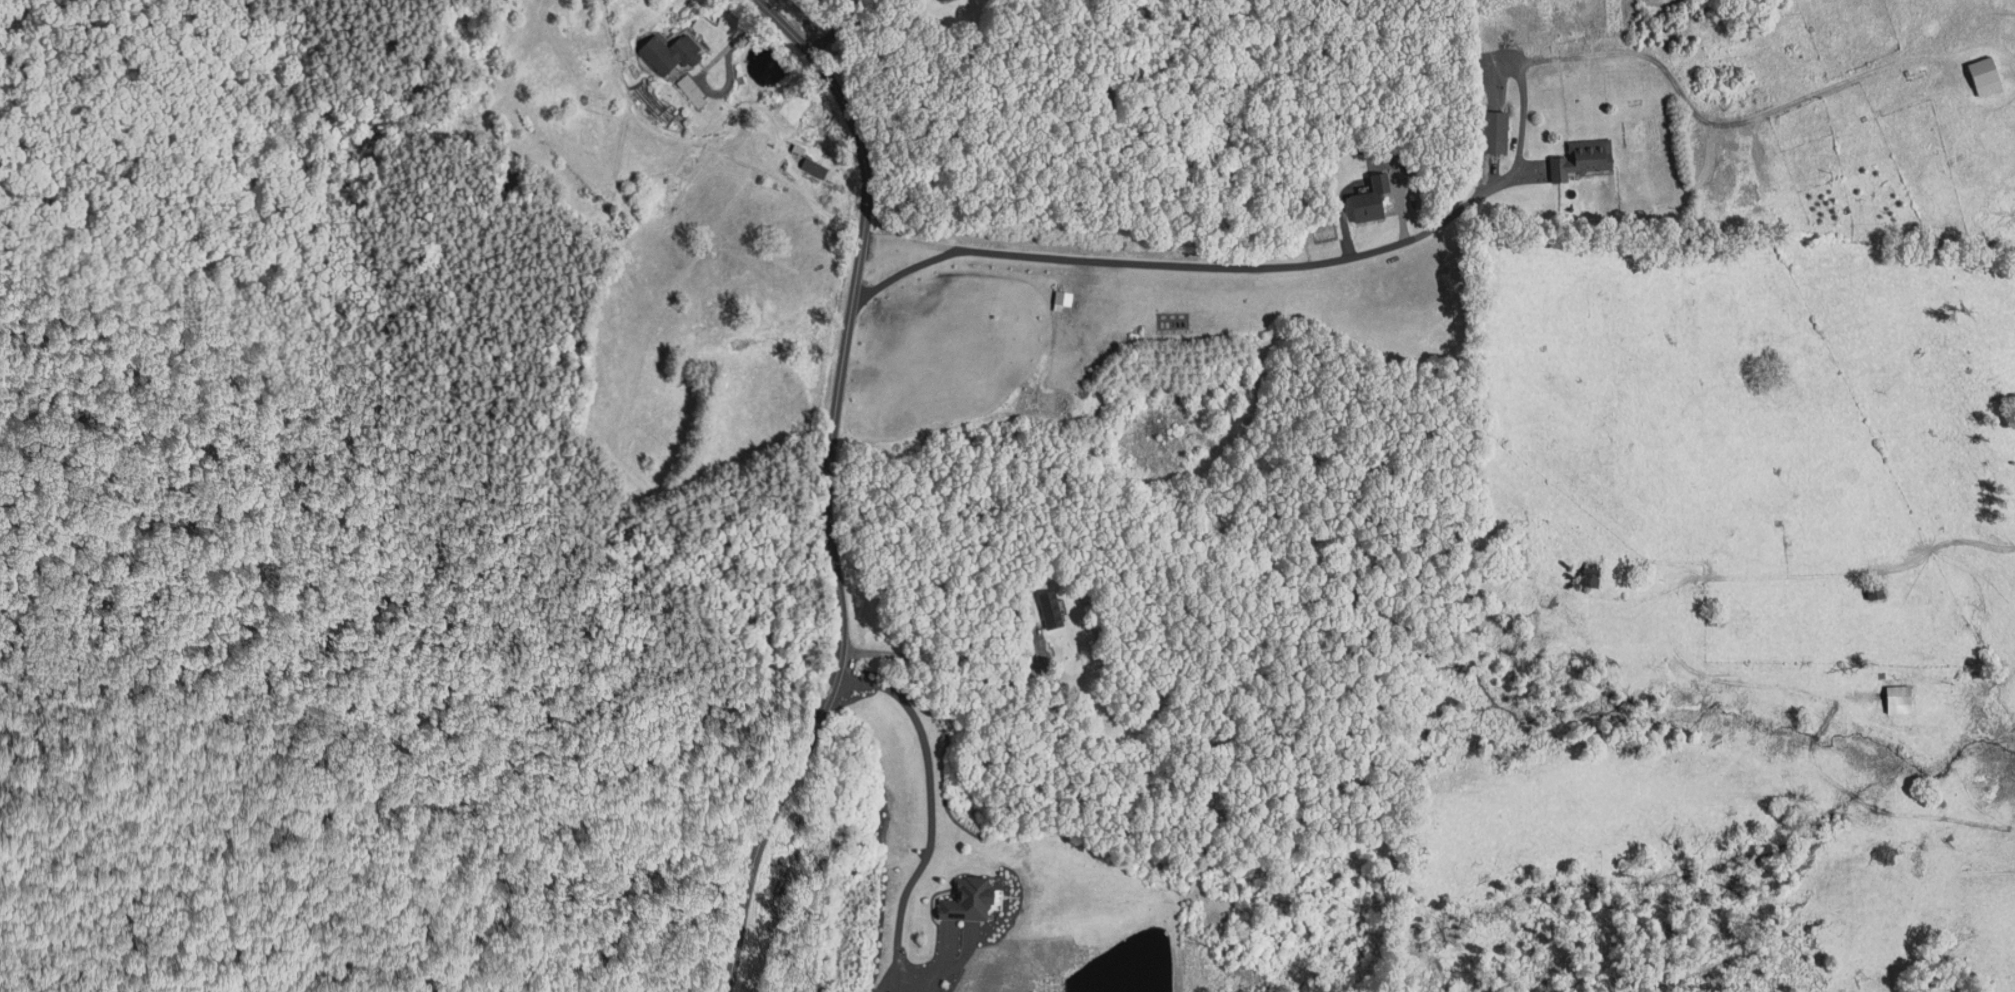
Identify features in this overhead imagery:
building: (940, 0)
building: (668, 50)
building: (1988, 74)
building: (691, 92)
building: (1493, 131)
building: (798, 147)
building: (1584, 157)
building: (814, 165)
building: (1372, 198)
road: (1187, 263)
building: (1062, 298)
building: (1123, 309)
road: (827, 488)
building: (1590, 572)
building: (1879, 589)
building: (1052, 607)
building: (1903, 699)
park: (239, 869)
building: (971, 899)
building: (877, 989)
building: (894, 990)

